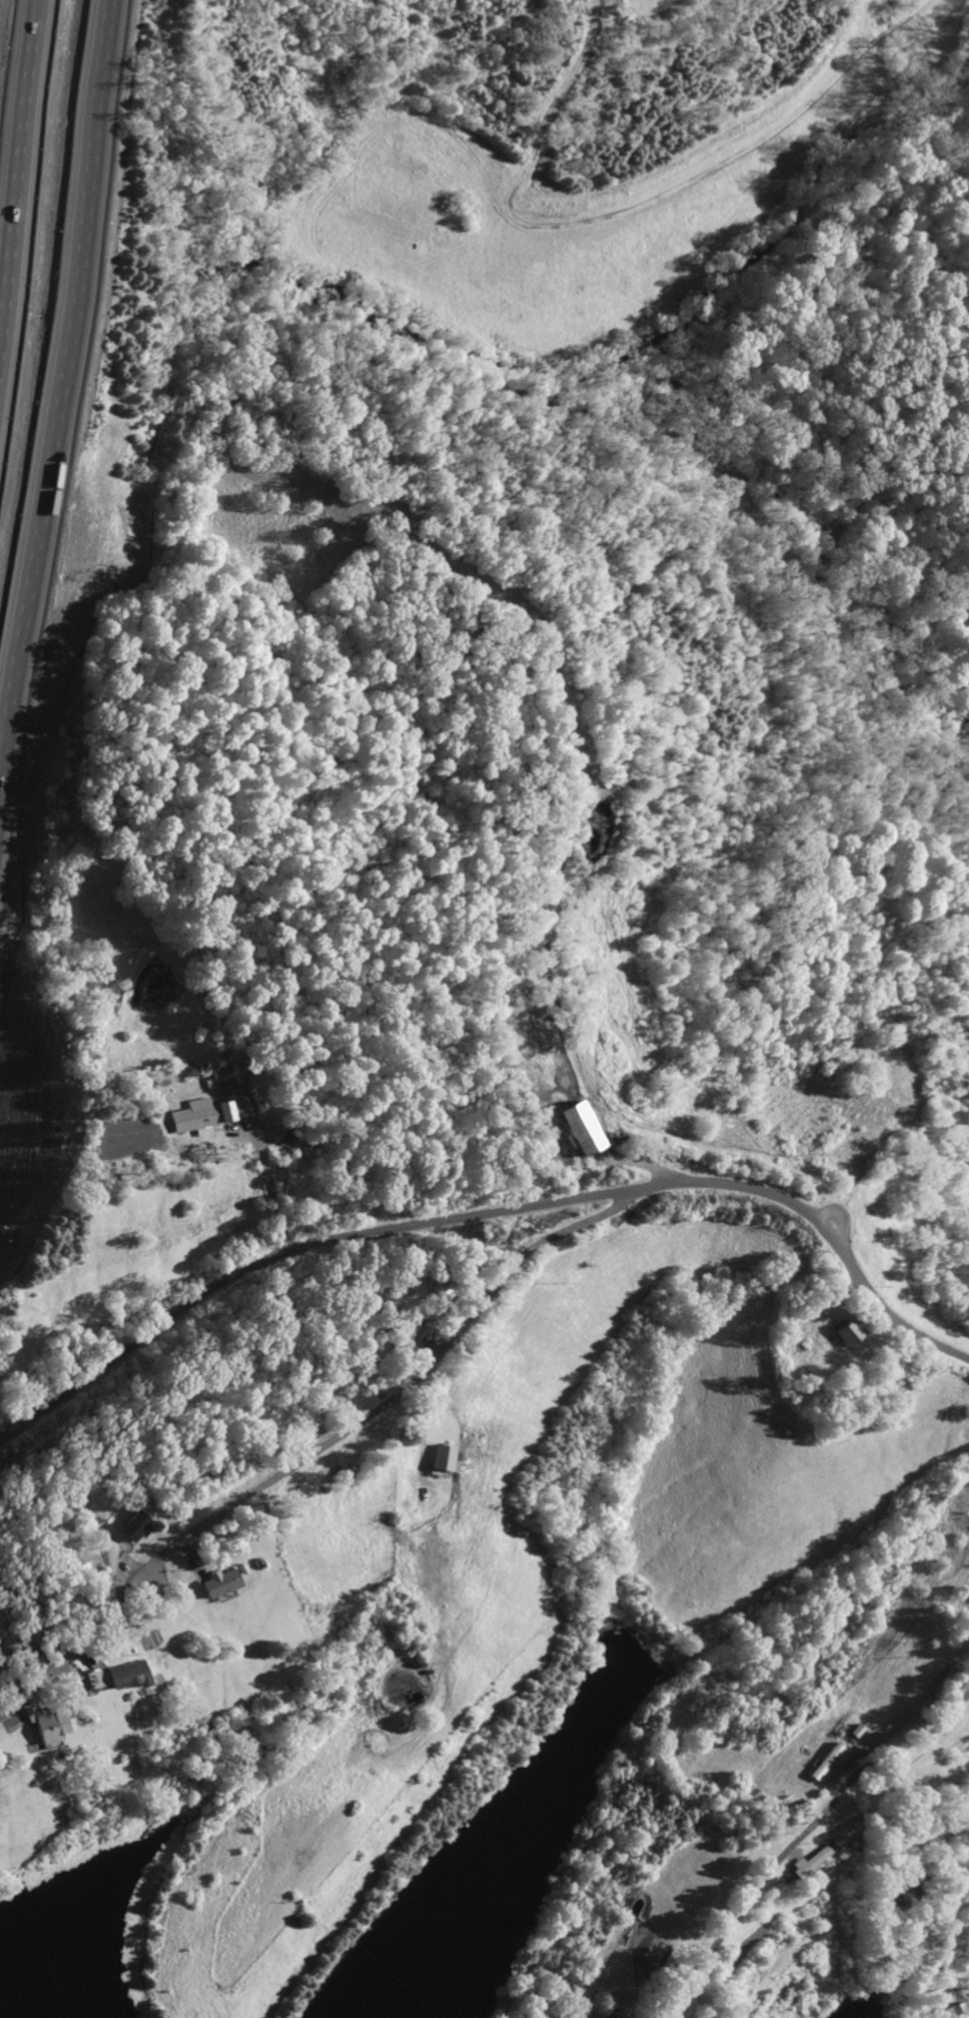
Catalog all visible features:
road: (15, 131)
road: (63, 459)
building: (197, 1115)
building: (564, 1129)
road: (269, 1187)
road: (488, 1213)
building: (843, 1332)
road: (323, 1447)
building: (434, 1458)
building: (133, 1527)
building: (214, 1583)
building: (124, 1675)
road: (918, 1696)
building: (47, 1726)
building: (824, 1762)
road: (800, 1833)
road: (911, 1845)
building: (805, 1861)

